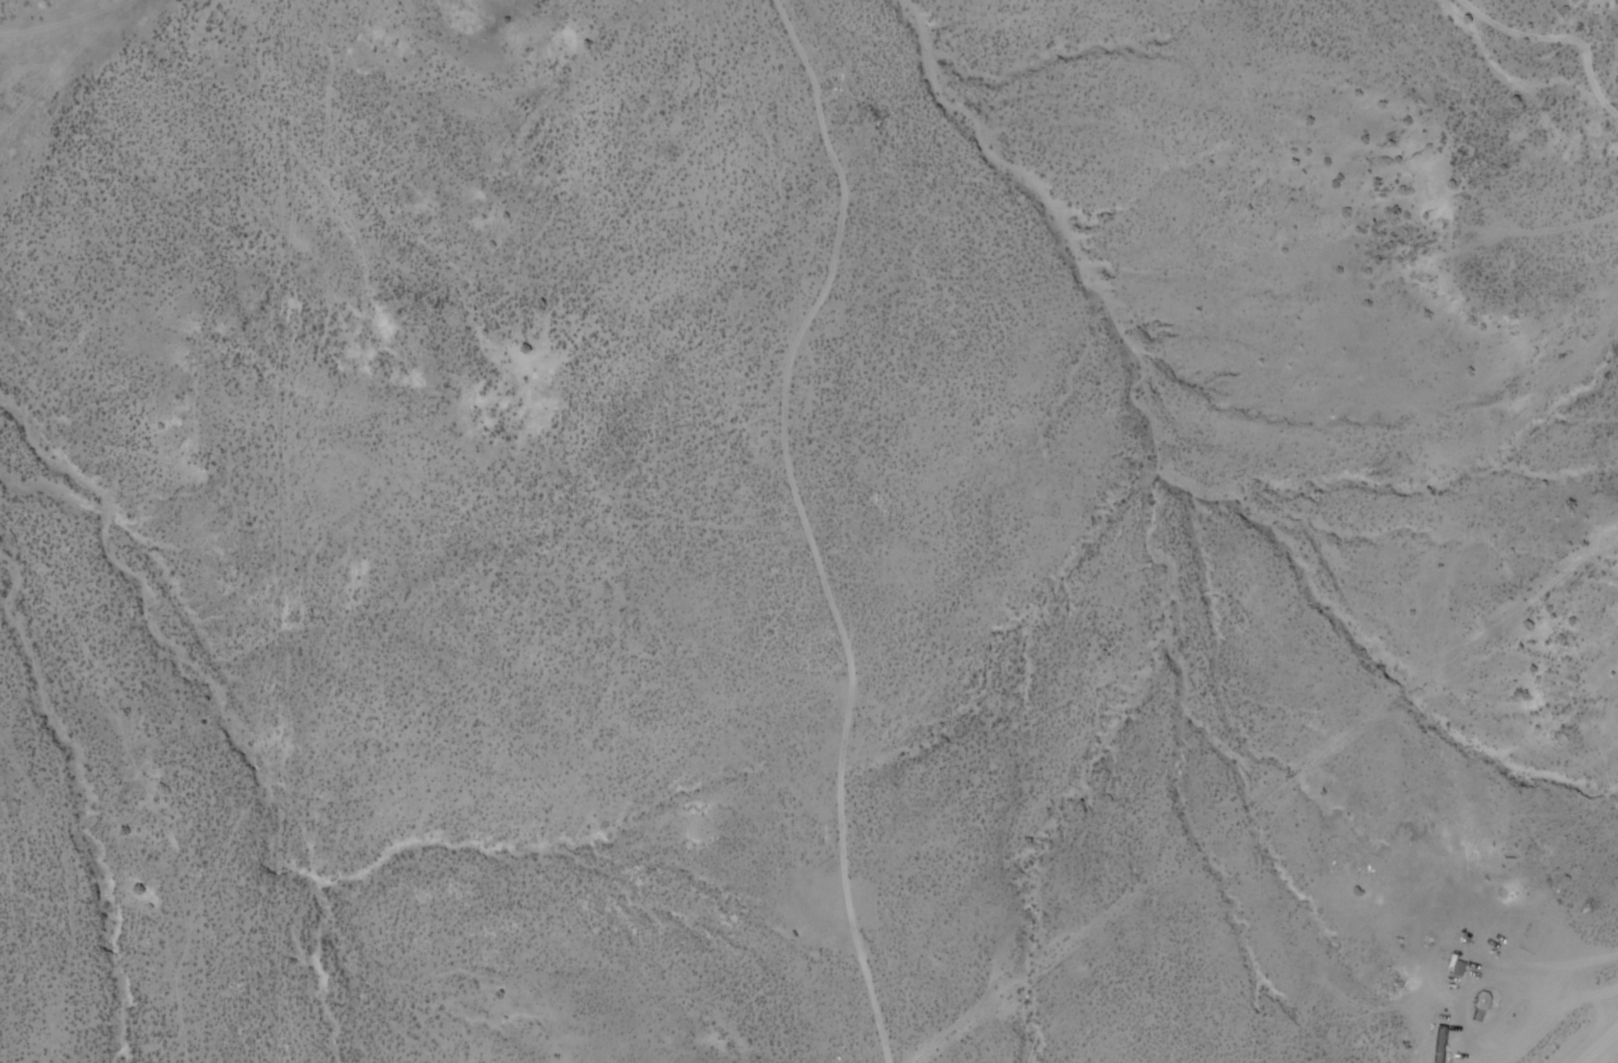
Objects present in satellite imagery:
building: (1484, 999)
road: (1599, 1047)

